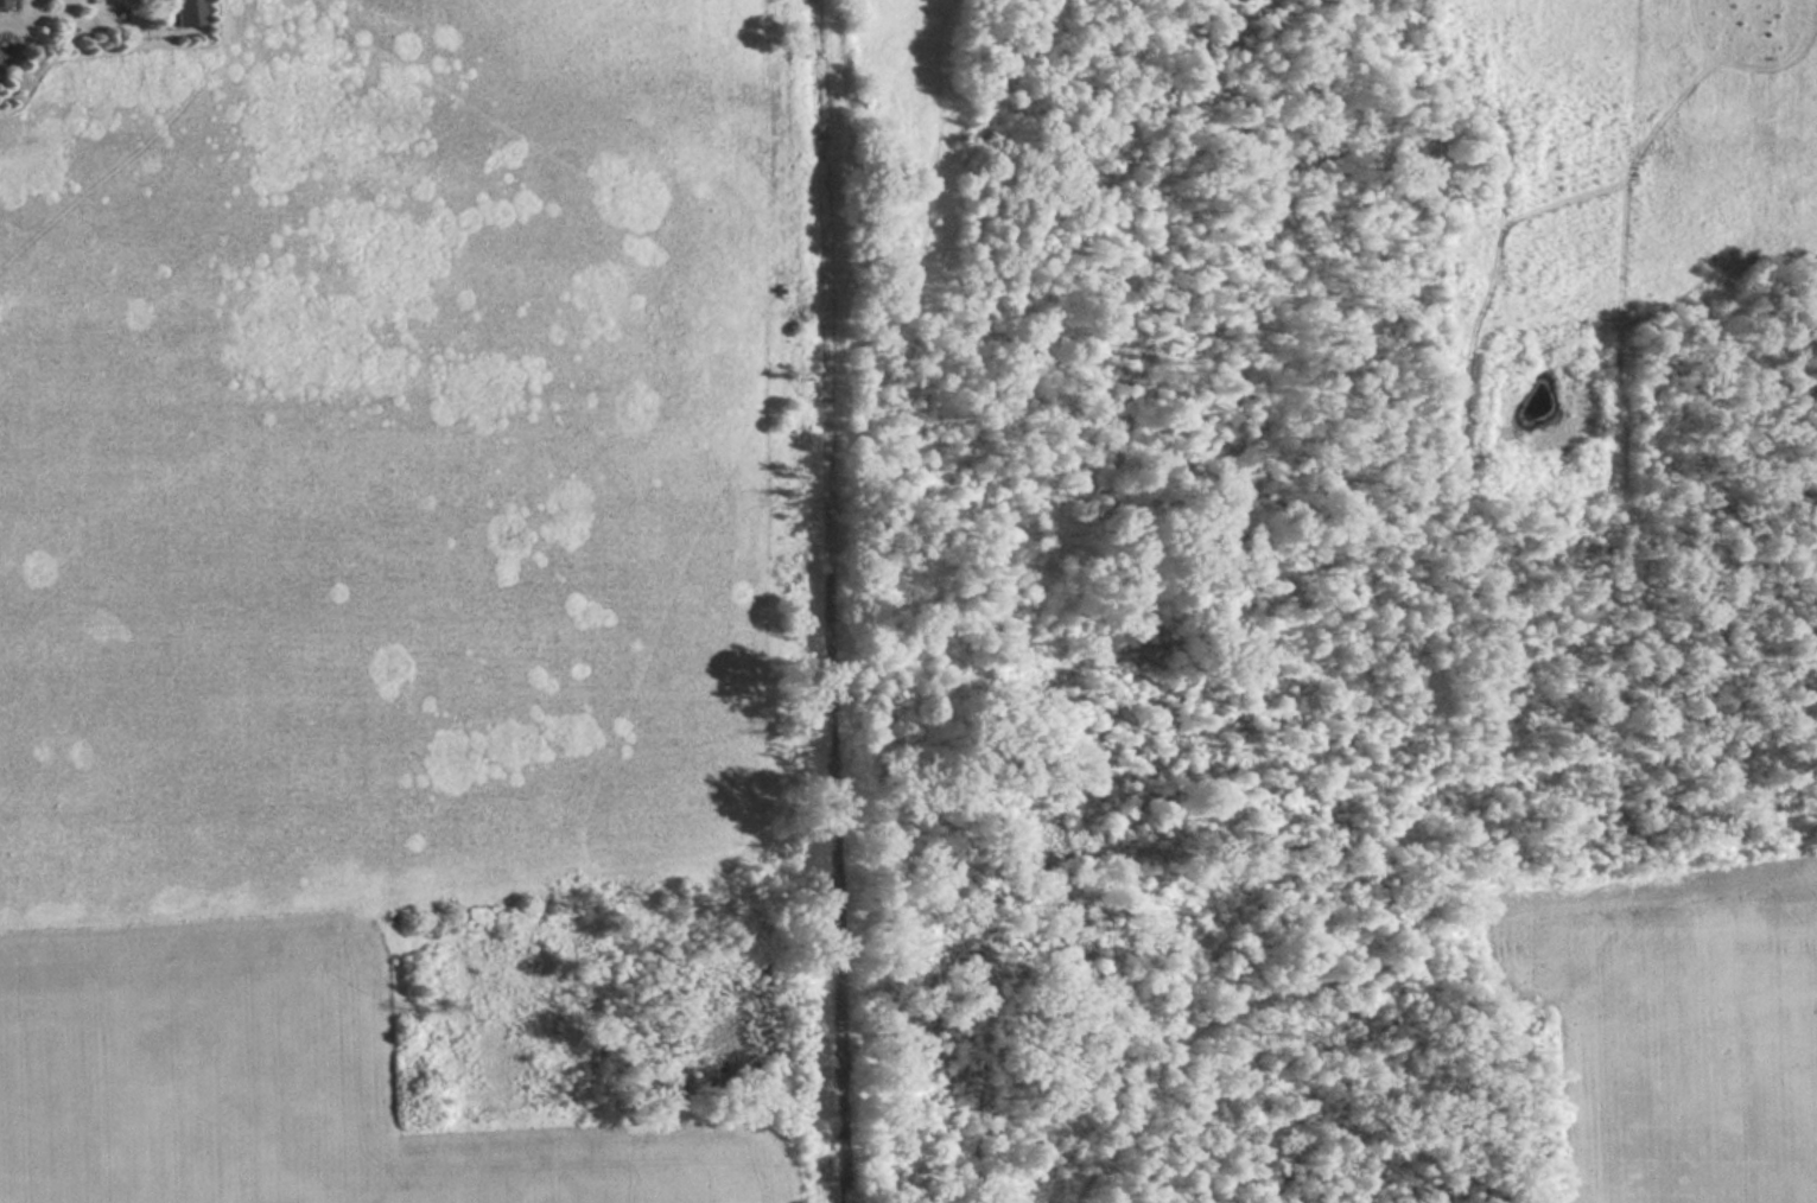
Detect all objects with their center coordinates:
building: (7, 4)

